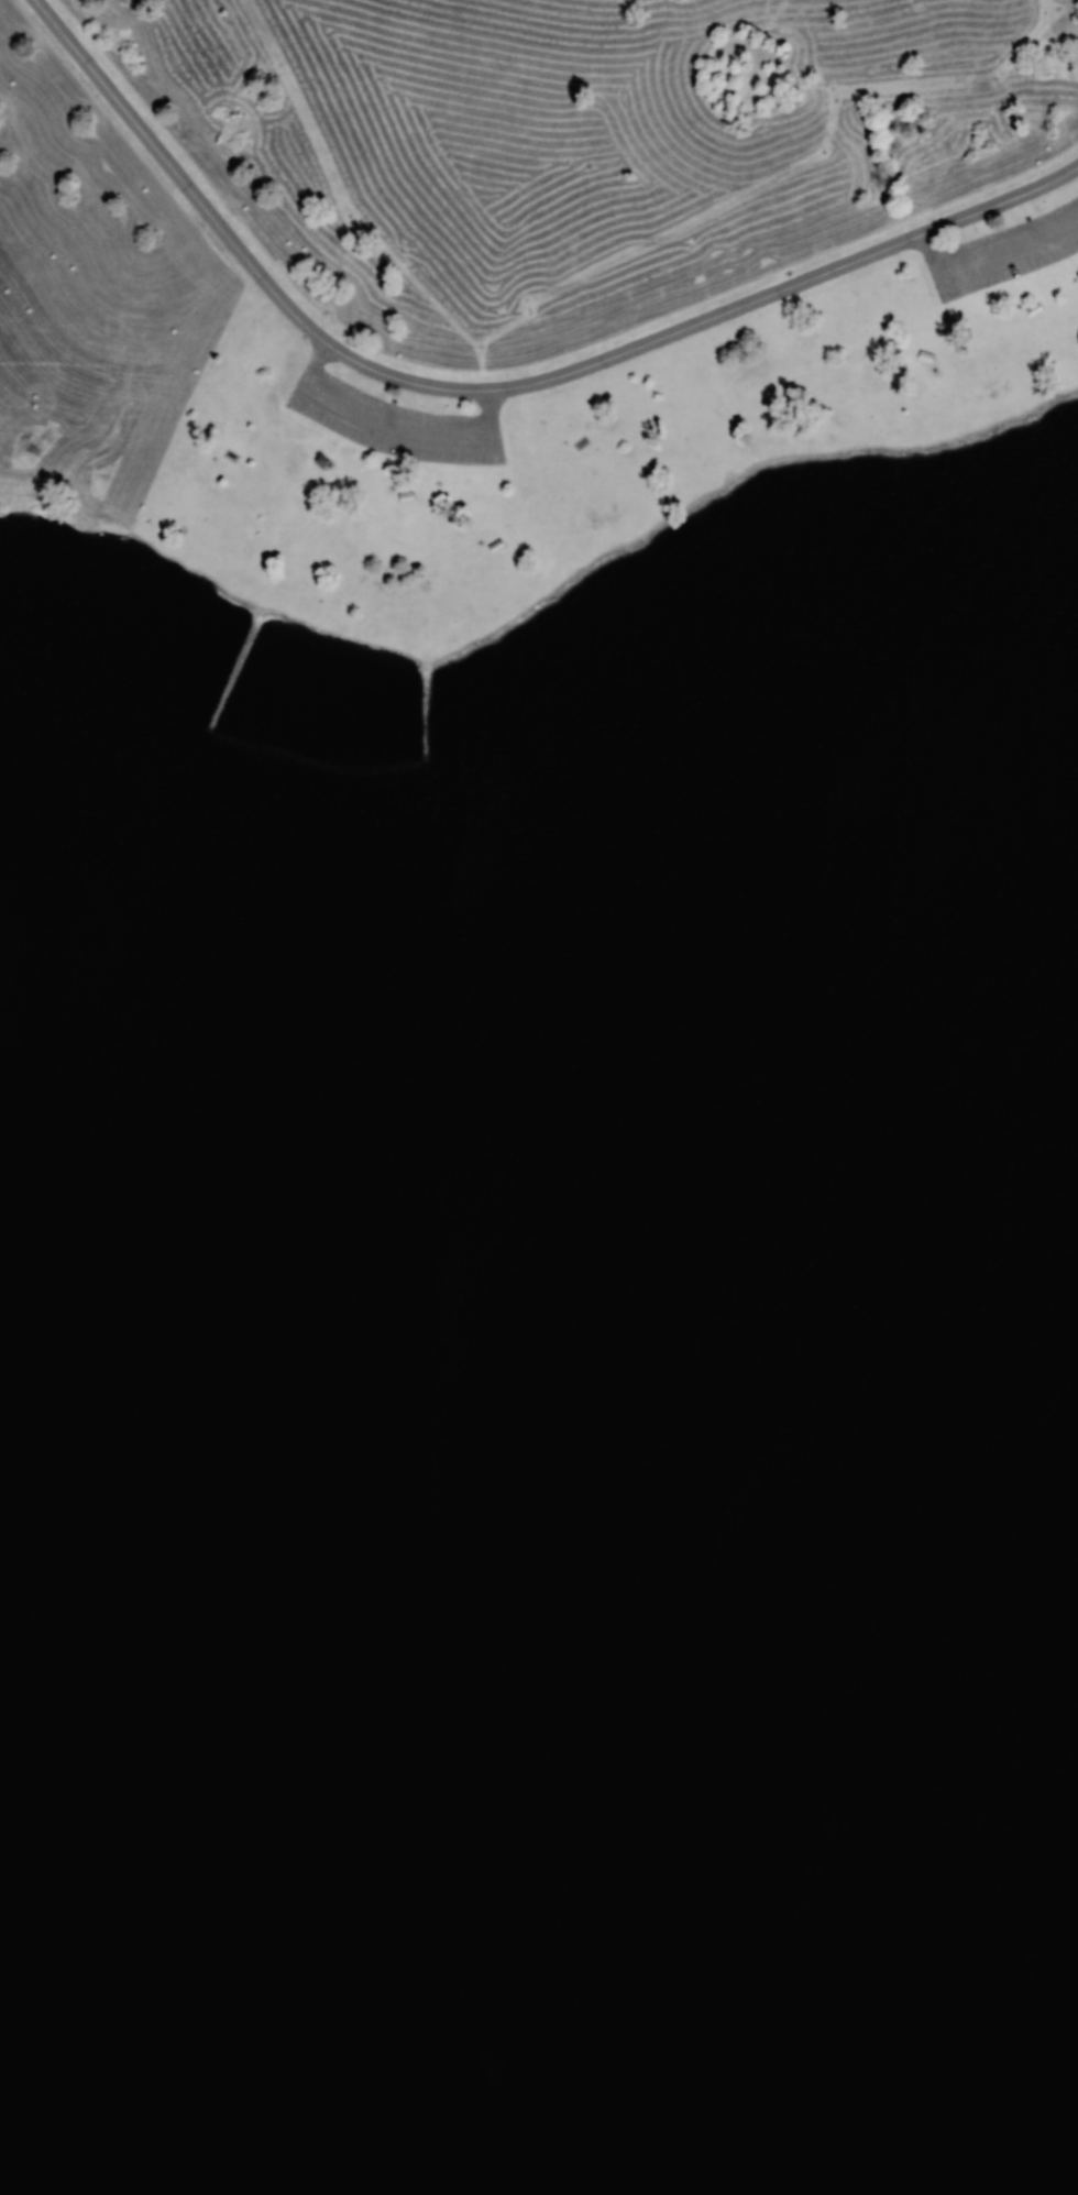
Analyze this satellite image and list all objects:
road: (992, 240)
road: (493, 392)
road: (389, 414)
road: (466, 611)
park: (539, 1097)
river: (539, 1720)

